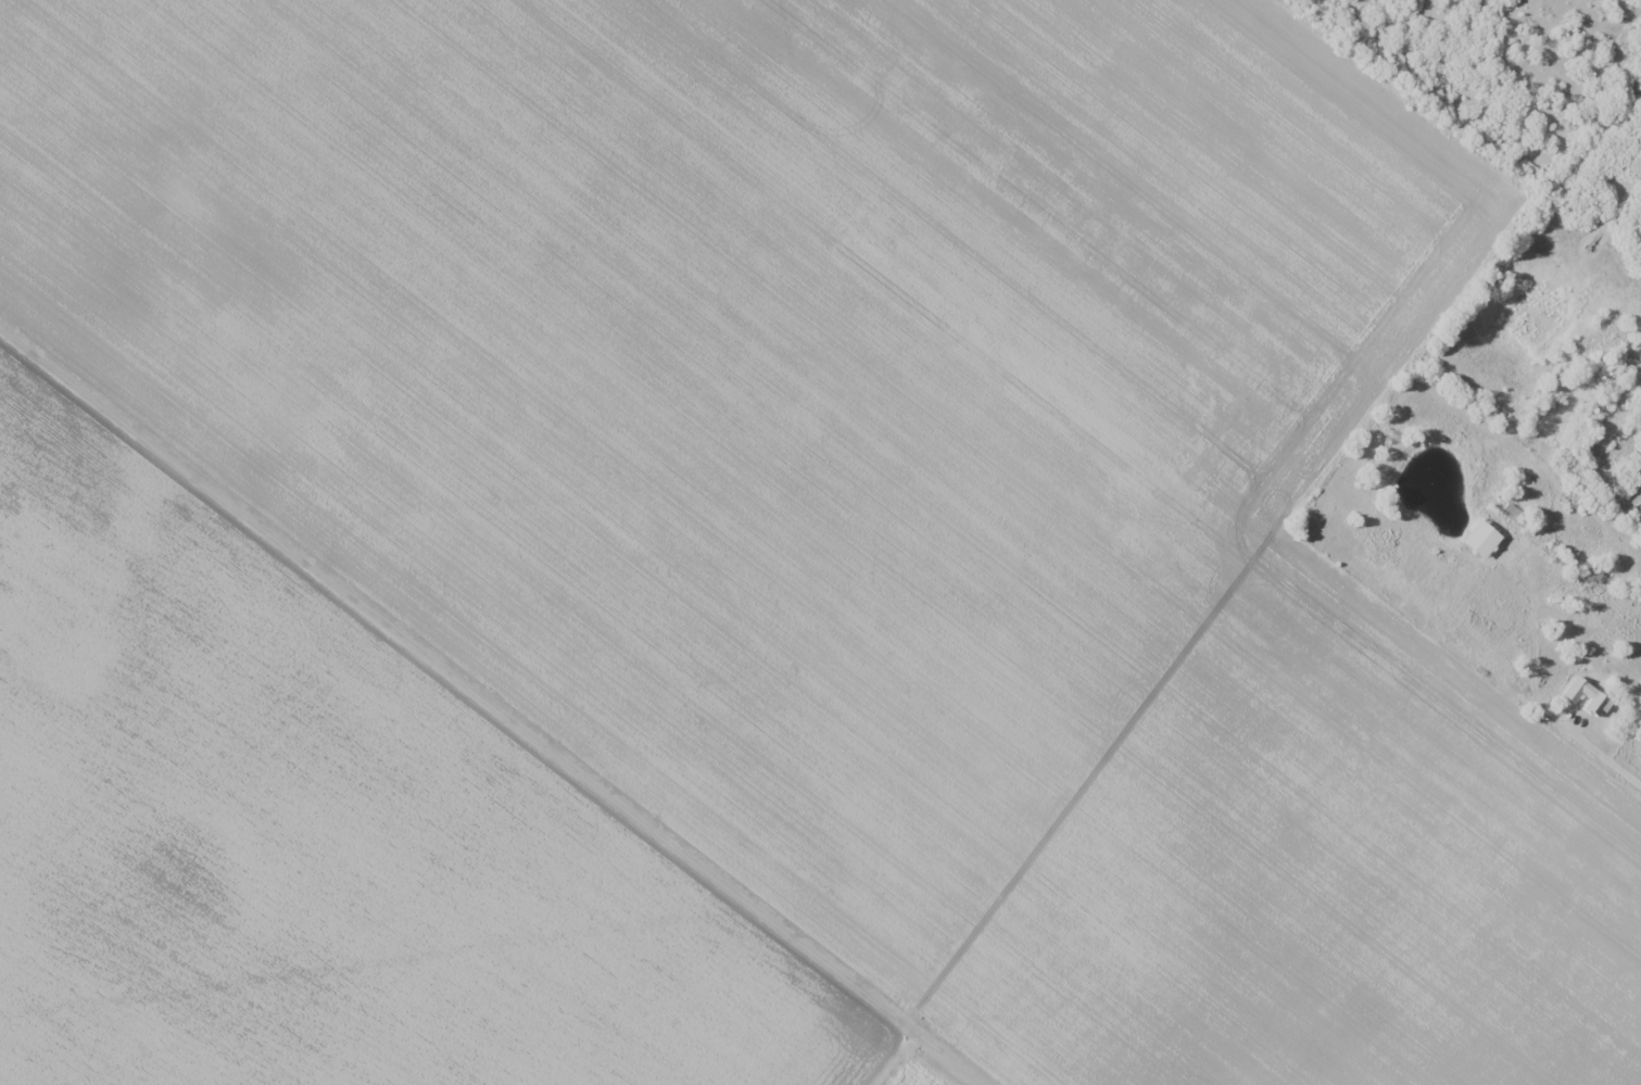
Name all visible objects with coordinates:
building: (1478, 540)
building: (1588, 580)
building: (1585, 697)
road: (494, 706)

